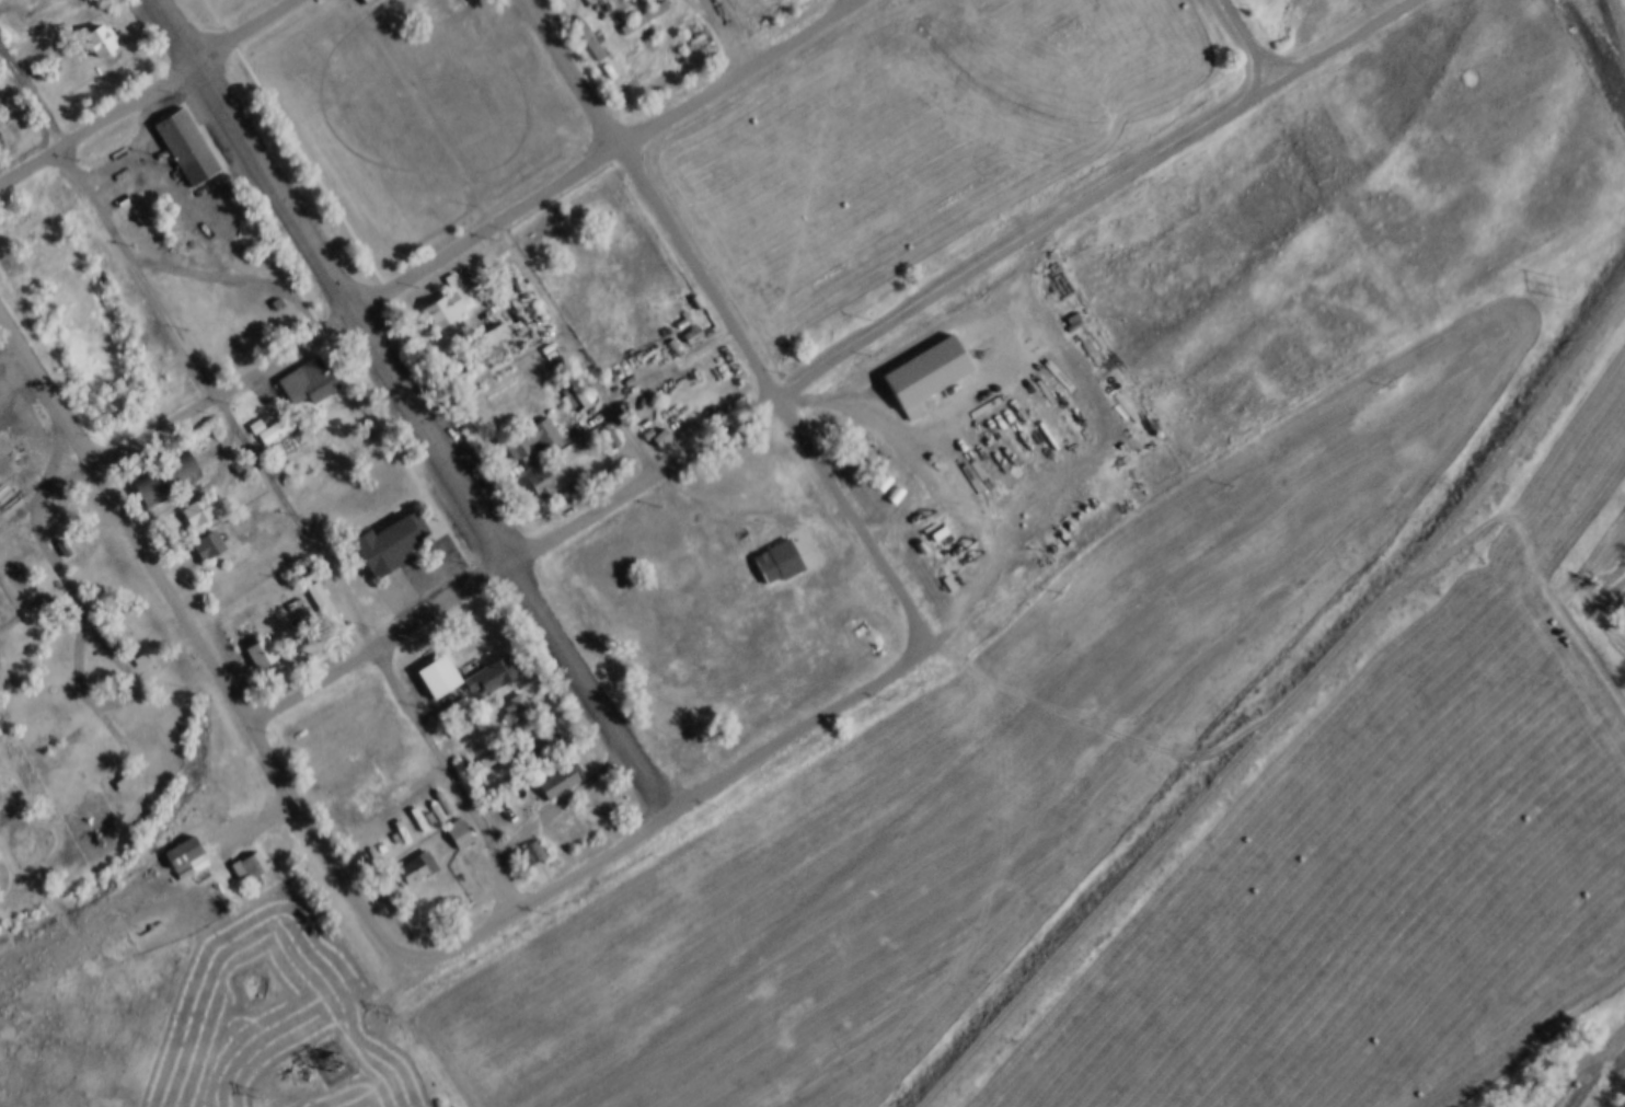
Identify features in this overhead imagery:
building: (796, 1)
building: (368, 2)
road: (531, 2)
building: (458, 3)
building: (630, 9)
building: (644, 20)
building: (581, 24)
building: (93, 26)
road: (719, 37)
road: (1613, 39)
road: (1248, 41)
building: (99, 42)
road: (1599, 42)
park: (1077, 46)
building: (39, 57)
building: (45, 72)
road: (142, 90)
building: (178, 134)
road: (128, 145)
road: (475, 235)
building: (689, 287)
building: (272, 289)
building: (440, 289)
building: (447, 307)
building: (675, 311)
road: (725, 318)
building: (685, 321)
building: (483, 330)
road: (602, 332)
building: (667, 332)
building: (917, 361)
road: (830, 365)
building: (300, 370)
building: (571, 373)
building: (733, 388)
building: (711, 399)
building: (334, 402)
road: (408, 410)
building: (250, 413)
building: (683, 416)
building: (267, 417)
building: (343, 423)
building: (654, 424)
building: (527, 426)
building: (532, 442)
building: (235, 452)
building: (284, 456)
building: (161, 464)
building: (533, 466)
road: (270, 477)
building: (165, 481)
building: (542, 485)
road: (189, 492)
building: (194, 495)
building: (199, 512)
building: (383, 529)
building: (203, 531)
building: (58, 532)
building: (208, 546)
building: (749, 560)
building: (735, 587)
building: (37, 588)
building: (316, 589)
building: (325, 610)
road: (72, 611)
building: (254, 642)
building: (137, 646)
road: (200, 650)
building: (261, 656)
building: (142, 662)
building: (429, 662)
building: (484, 664)
building: (493, 677)
building: (511, 693)
building: (427, 694)
road: (1283, 700)
building: (519, 710)
building: (453, 715)
building: (461, 730)
building: (531, 733)
building: (539, 747)
building: (477, 748)
building: (118, 768)
building: (553, 768)
building: (557, 784)
building: (371, 798)
road: (561, 806)
road: (673, 809)
building: (450, 820)
building: (458, 835)
building: (521, 840)
building: (177, 844)
building: (242, 852)
building: (406, 854)
building: (528, 857)
building: (186, 860)
building: (249, 867)
building: (415, 872)
road: (366, 1006)
power substation: (324, 1043)

